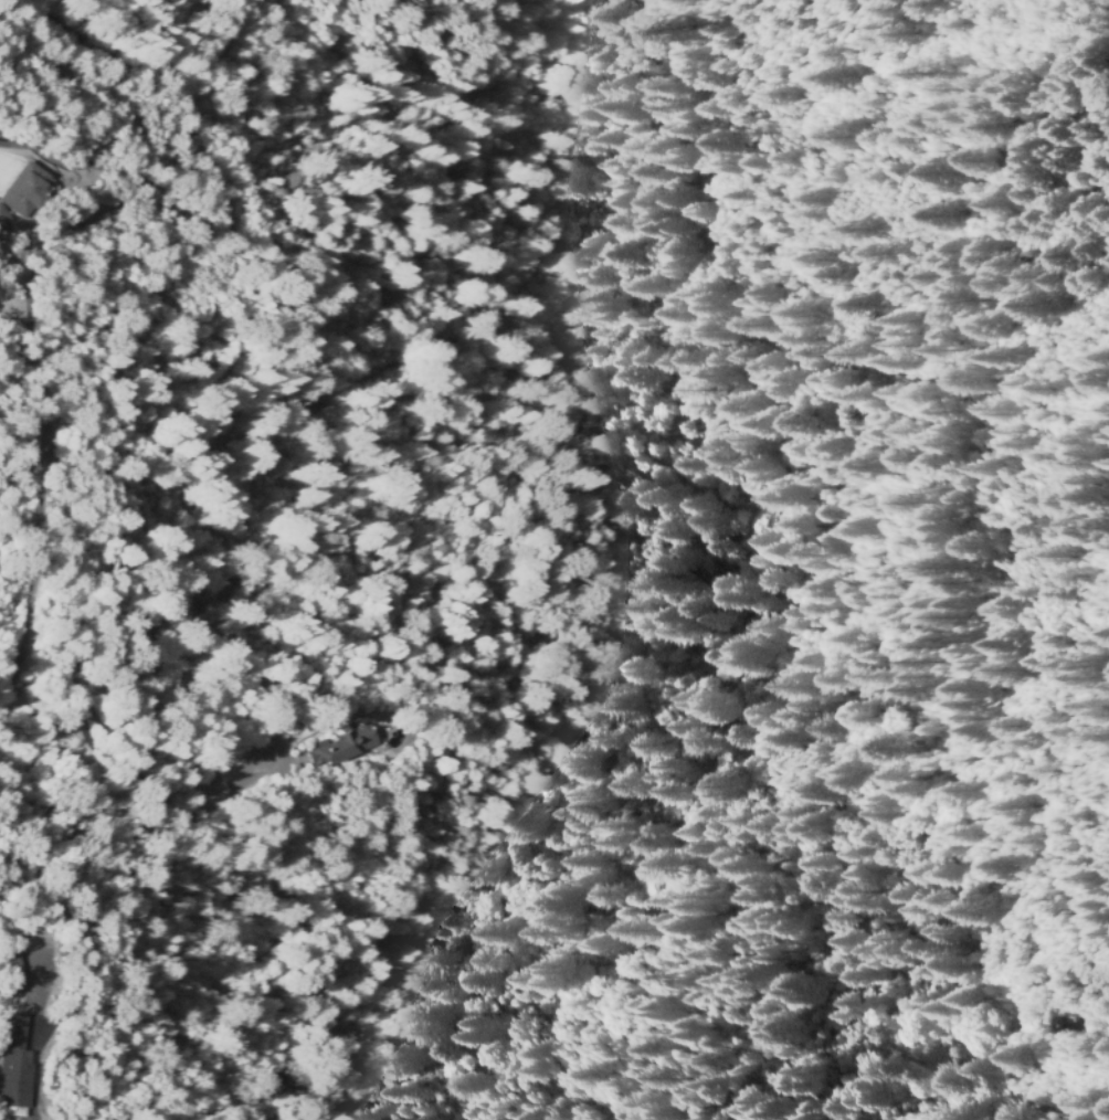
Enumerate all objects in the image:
building: (25, 191)
building: (3, 216)
building: (341, 744)
building: (212, 793)
building: (14, 971)
building: (14, 1067)

